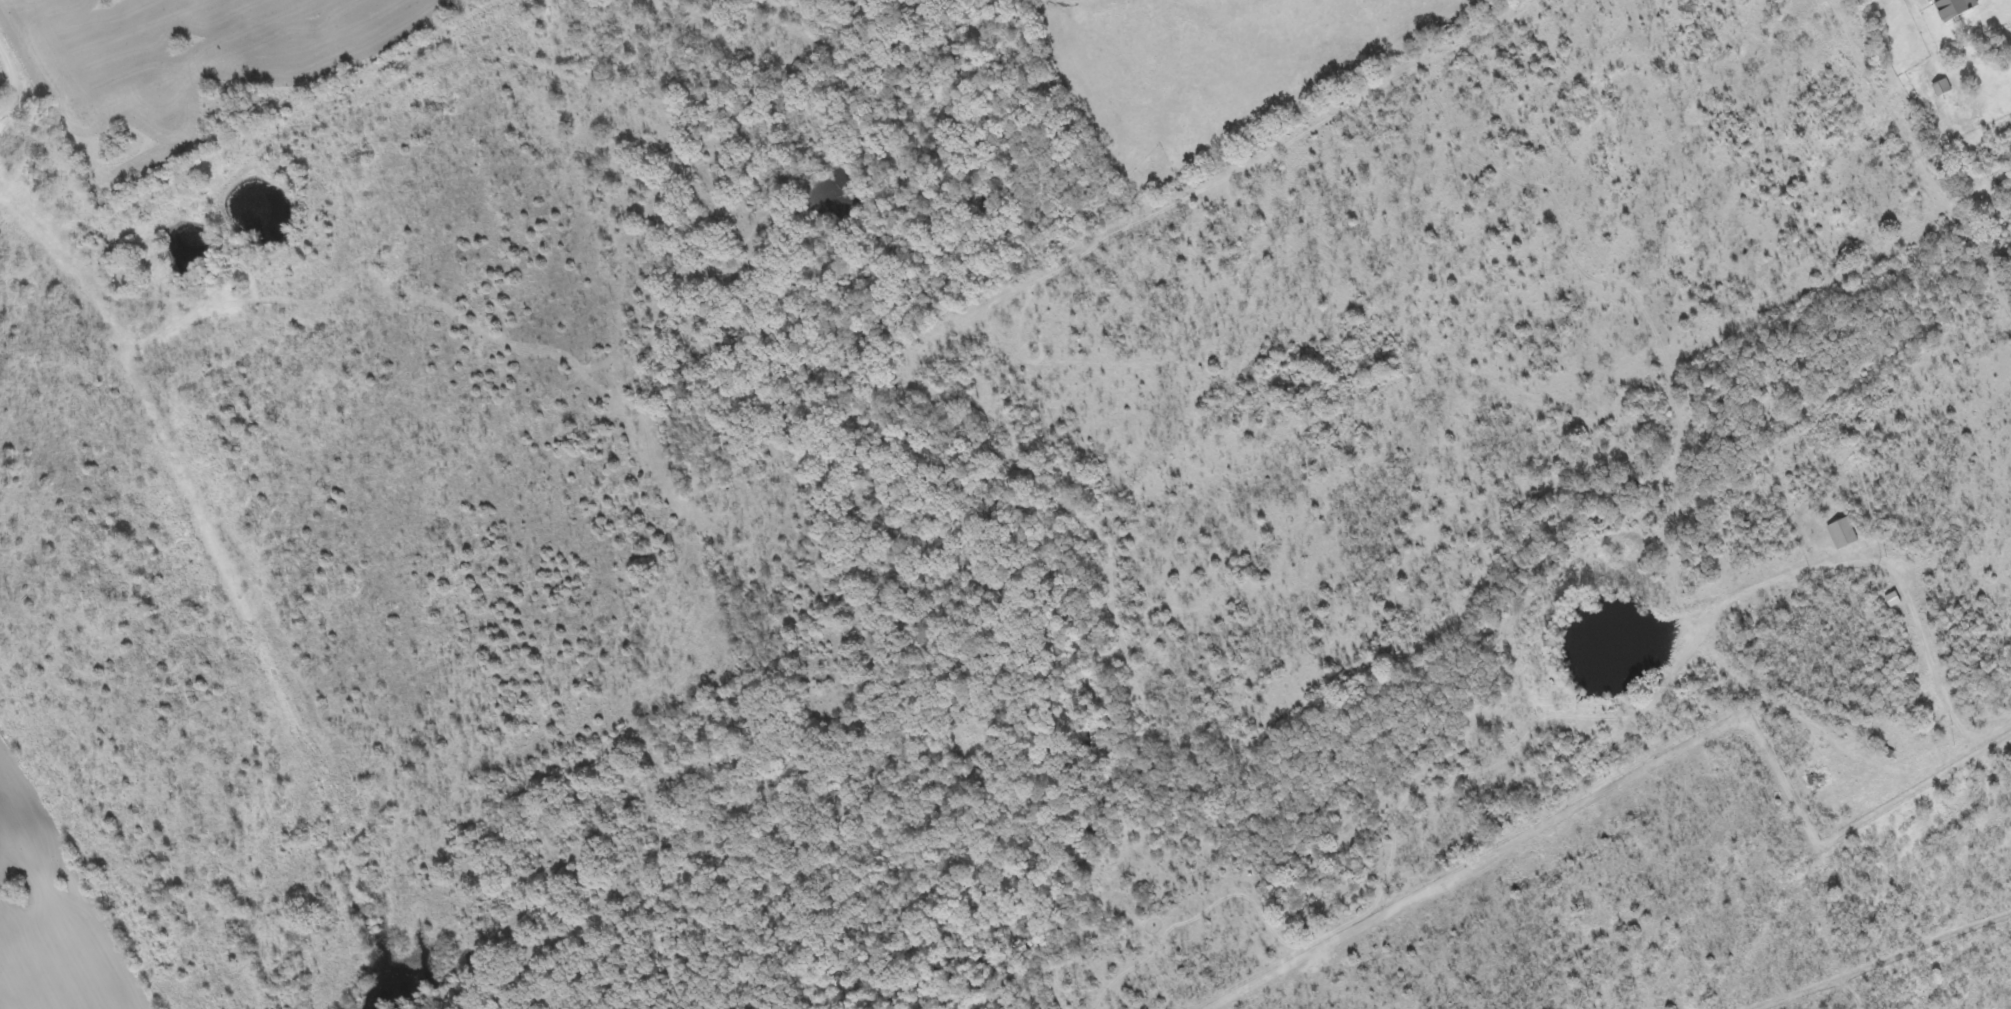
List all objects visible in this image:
road: (18, 77)
building: (1944, 89)

